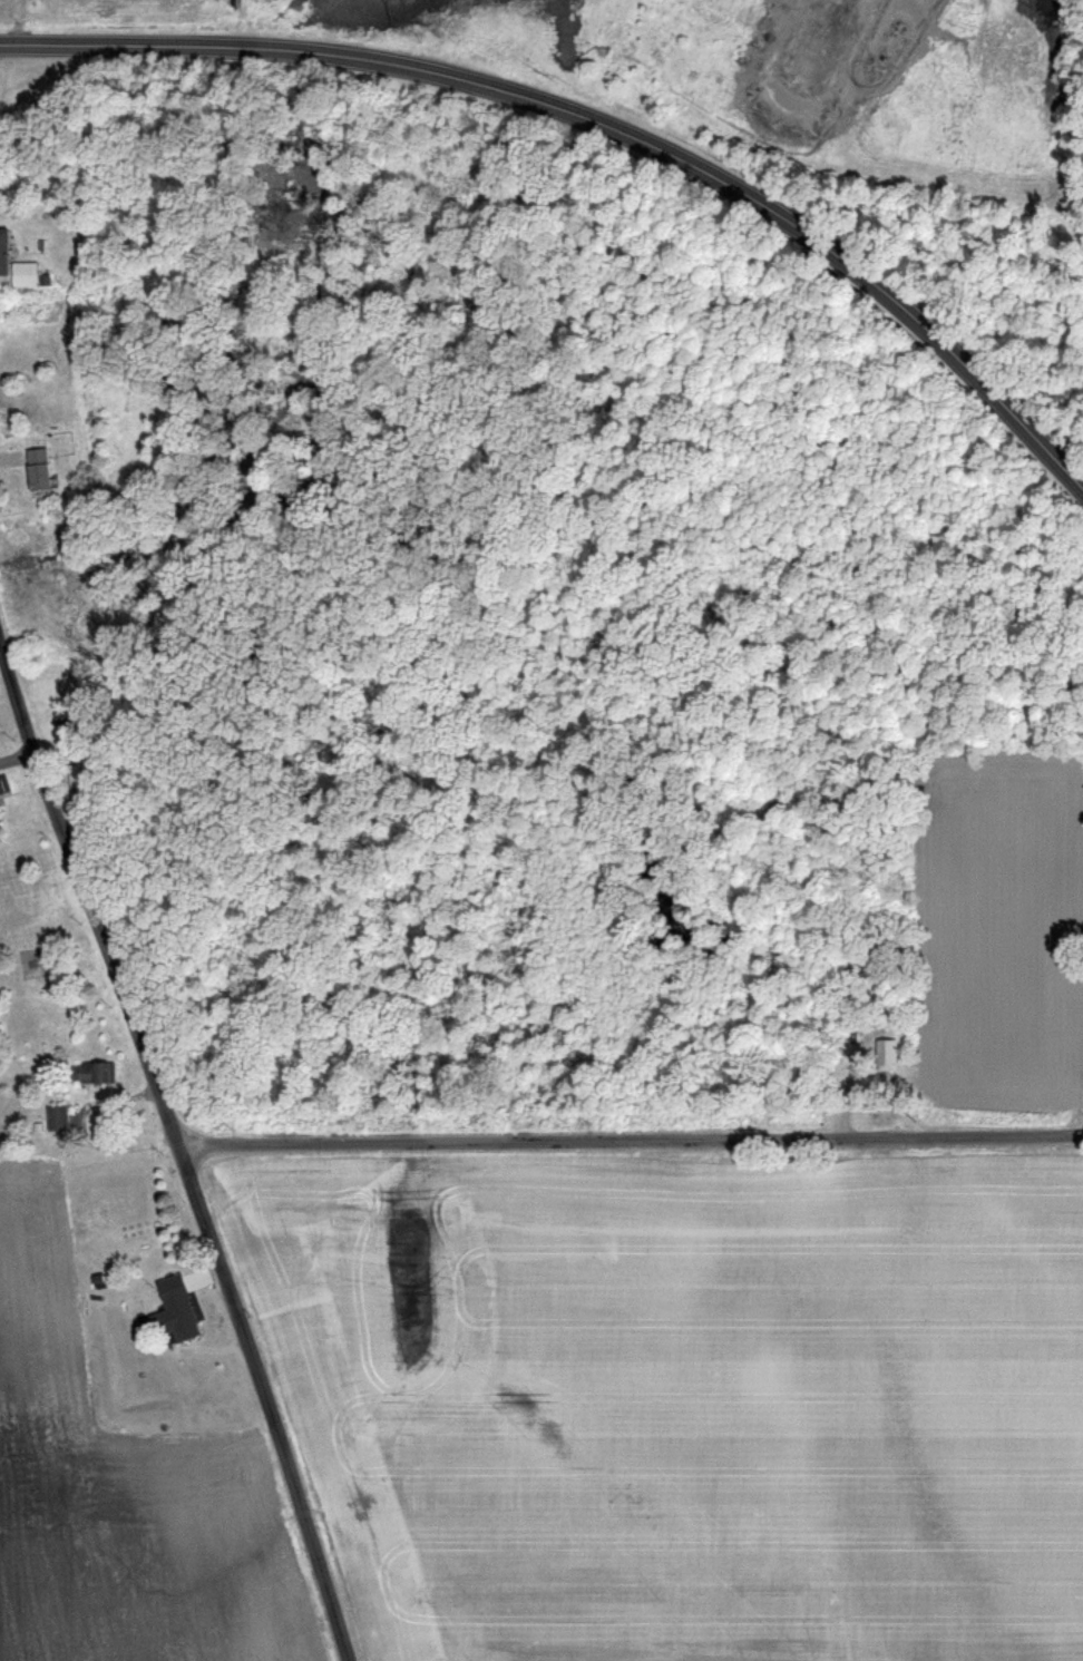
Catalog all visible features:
road: (601, 121)
building: (3, 252)
building: (23, 274)
building: (37, 470)
building: (78, 774)
building: (3, 784)
building: (886, 1053)
building: (91, 1071)
building: (57, 1116)
road: (630, 1139)
road: (178, 1154)
building: (174, 1310)

